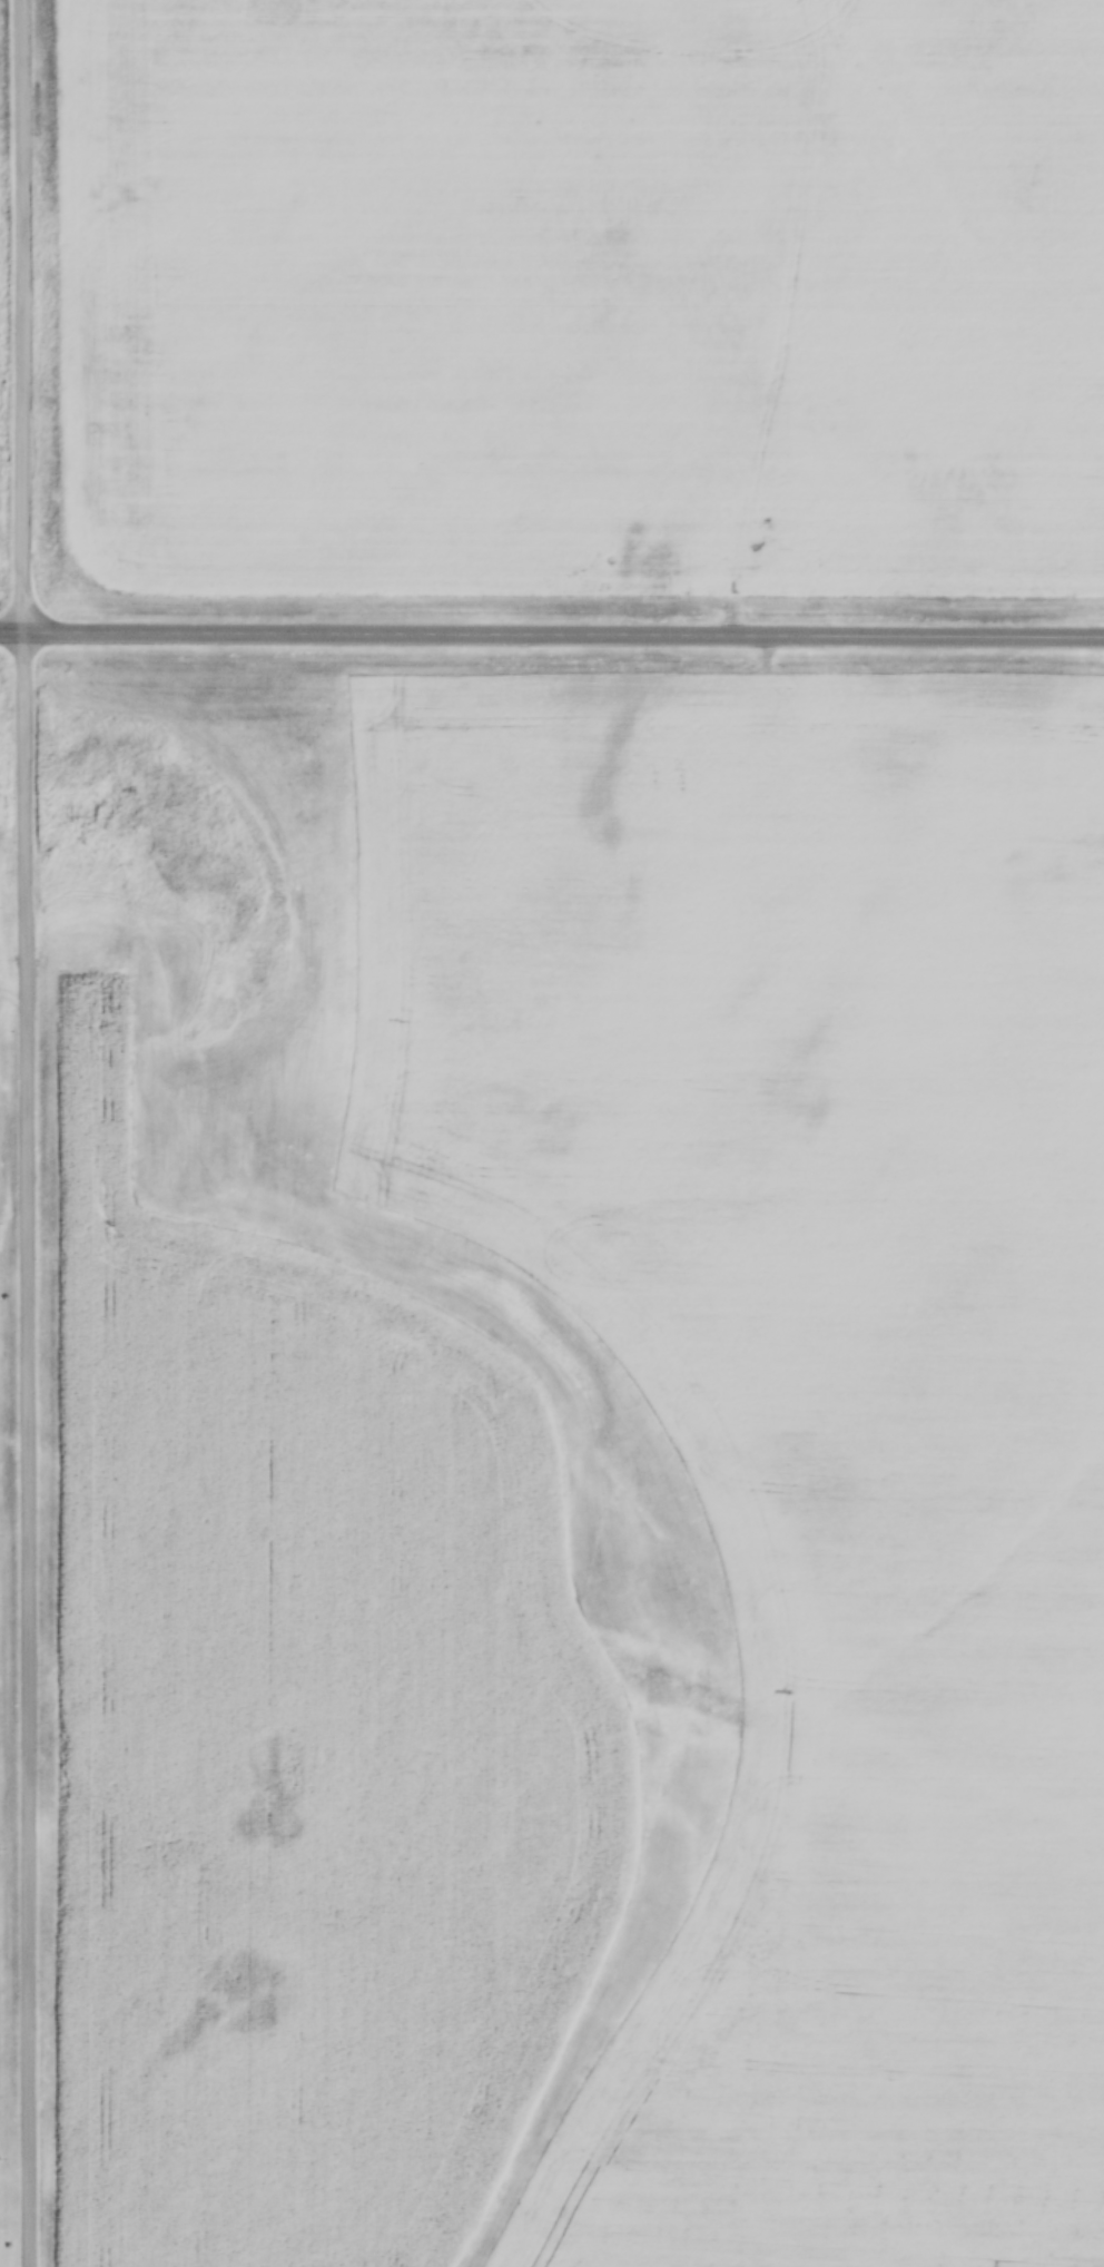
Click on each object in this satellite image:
road: (551, 631)
road: (28, 1132)

